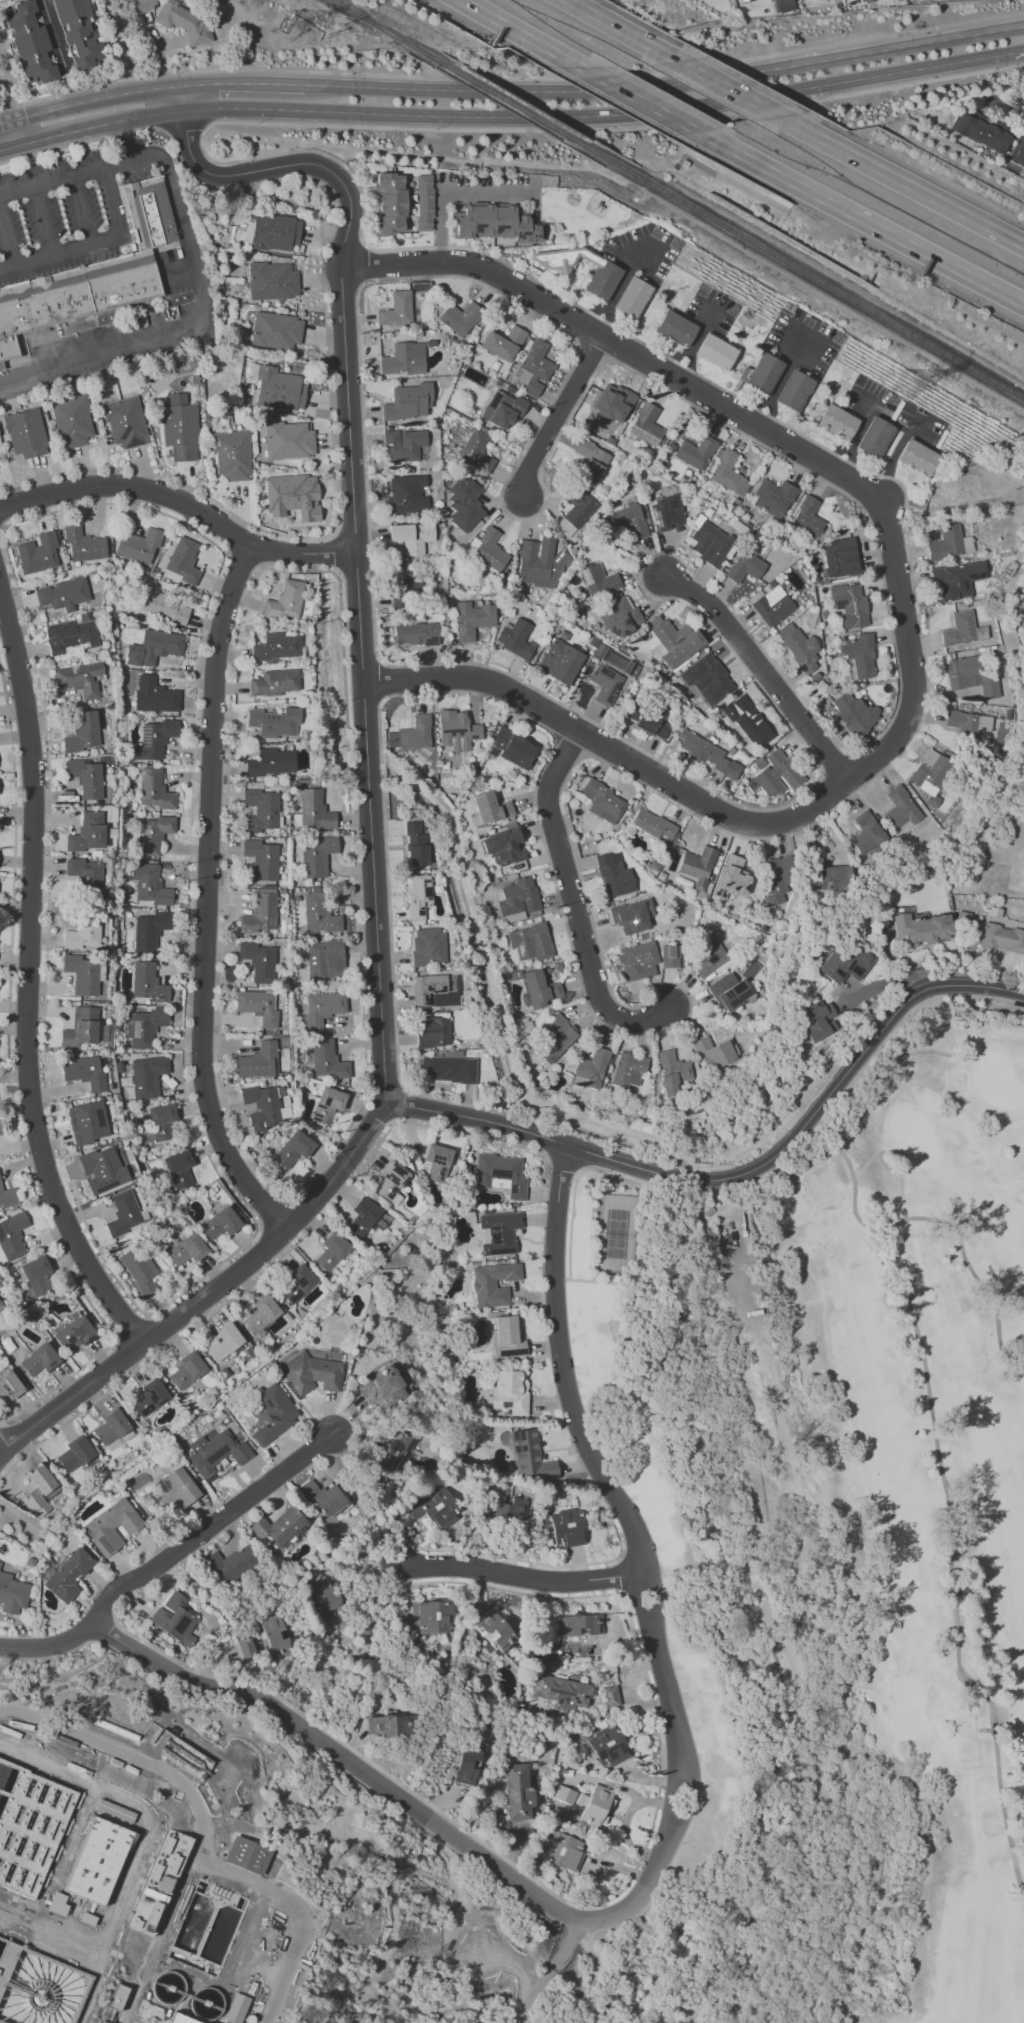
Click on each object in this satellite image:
building: (8, 0)
building: (743, 0)
building: (142, 5)
building: (783, 5)
building: (185, 22)
power tower: (280, 25)
road: (376, 28)
road: (622, 30)
building: (79, 32)
railway: (388, 33)
road: (522, 33)
building: (29, 43)
road: (906, 44)
road: (57, 53)
road: (973, 60)
road: (512, 78)
road: (858, 81)
road: (243, 85)
road: (667, 85)
road: (363, 88)
road: (729, 88)
road: (484, 91)
road: (128, 94)
road: (639, 99)
road: (9, 102)
road: (503, 103)
railway: (512, 103)
road: (270, 109)
road: (693, 109)
road: (1006, 109)
road: (58, 115)
road: (545, 118)
road: (30, 128)
road: (183, 128)
building: (981, 131)
road: (9, 134)
building: (1017, 153)
road: (591, 154)
road: (446, 159)
road: (51, 182)
road: (902, 182)
road: (447, 190)
road: (302, 203)
building: (390, 203)
building: (424, 203)
road: (82, 210)
parking lot: (59, 215)
road: (44, 220)
road: (859, 220)
building: (494, 223)
building: (275, 232)
road: (6, 239)
road: (104, 239)
road: (361, 264)
railway: (801, 270)
building: (94, 274)
building: (605, 274)
building: (272, 281)
road: (614, 290)
road: (815, 293)
building: (632, 297)
road: (196, 308)
building: (396, 309)
building: (460, 317)
road: (607, 323)
building: (675, 328)
building: (276, 331)
building: (503, 342)
road: (691, 348)
road: (592, 351)
building: (715, 351)
building: (404, 359)
building: (535, 367)
road: (690, 368)
building: (760, 373)
power tower: (900, 382)
building: (279, 389)
building: (793, 390)
building: (408, 402)
building: (612, 403)
building: (503, 408)
road: (560, 420)
building: (72, 421)
building: (836, 421)
building: (124, 422)
building: (646, 425)
road: (761, 427)
building: (180, 428)
building: (25, 433)
road: (856, 435)
building: (874, 437)
building: (289, 440)
building: (403, 445)
building: (476, 451)
building: (695, 452)
building: (232, 455)
building: (917, 457)
building: (590, 460)
building: (728, 473)
road: (172, 480)
building: (407, 494)
building: (293, 496)
building: (773, 497)
road: (181, 502)
building: (464, 503)
building: (576, 513)
building: (667, 513)
building: (807, 517)
building: (630, 520)
road: (353, 521)
road: (2, 529)
building: (412, 536)
building: (709, 543)
building: (950, 543)
building: (84, 544)
building: (140, 546)
building: (488, 549)
road: (333, 552)
building: (38, 553)
building: (840, 557)
road: (243, 559)
building: (183, 560)
building: (540, 562)
building: (744, 566)
building: (956, 579)
building: (598, 580)
building: (408, 589)
building: (63, 594)
building: (285, 600)
building: (850, 605)
building: (772, 606)
building: (162, 607)
building: (620, 617)
building: (472, 619)
building: (959, 629)
building: (415, 634)
building: (69, 636)
building: (515, 638)
building: (674, 644)
building: (277, 646)
building: (154, 647)
building: (799, 647)
road: (232, 653)
road: (766, 654)
building: (860, 655)
building: (560, 661)
road: (765, 670)
building: (970, 676)
building: (79, 678)
building: (707, 678)
road: (380, 681)
building: (274, 682)
building: (605, 684)
road: (926, 684)
building: (154, 695)
building: (854, 713)
building: (746, 719)
building: (275, 722)
building: (648, 723)
building: (968, 723)
building: (457, 730)
building: (83, 732)
building: (411, 734)
building: (154, 739)
road: (568, 747)
road: (610, 747)
building: (514, 748)
building: (708, 754)
building: (271, 762)
road: (833, 763)
building: (929, 771)
building: (776, 773)
building: (86, 777)
building: (154, 789)
building: (603, 801)
building: (491, 807)
building: (900, 808)
building: (314, 809)
building: (261, 810)
building: (655, 825)
building: (87, 832)
building: (865, 832)
building: (153, 834)
building: (415, 844)
building: (504, 844)
building: (317, 855)
building: (262, 859)
building: (697, 866)
building: (85, 874)
building: (614, 875)
building: (734, 875)
building: (834, 876)
building: (776, 877)
building: (150, 884)
building: (419, 895)
road: (206, 897)
building: (518, 899)
road: (575, 904)
building: (261, 911)
building: (319, 913)
building: (632, 916)
building: (921, 929)
building: (150, 930)
building: (82, 935)
building: (1002, 938)
building: (530, 942)
building: (428, 946)
building: (669, 956)
building: (325, 959)
building: (710, 959)
building: (638, 960)
building: (258, 961)
building: (845, 963)
building: (83, 974)
road: (29, 982)
building: (148, 982)
building: (427, 988)
building: (538, 988)
building: (729, 991)
building: (258, 1006)
building: (323, 1008)
building: (816, 1020)
building: (146, 1027)
building: (81, 1028)
building: (433, 1031)
building: (555, 1038)
building: (713, 1052)
building: (326, 1059)
building: (258, 1061)
building: (448, 1069)
building: (590, 1069)
building: (627, 1069)
building: (672, 1071)
building: (84, 1072)
building: (148, 1075)
road: (11, 1085)
building: (328, 1104)
building: (262, 1106)
road: (381, 1112)
building: (87, 1122)
building: (0, 1130)
road: (483, 1135)
building: (293, 1149)
building: (437, 1162)
road: (779, 1162)
road: (562, 1164)
building: (102, 1169)
building: (179, 1169)
road: (740, 1175)
building: (391, 1181)
building: (8, 1196)
road: (273, 1210)
building: (124, 1213)
building: (362, 1217)
building: (220, 1223)
building: (500, 1232)
park: (616, 1234)
building: (12, 1236)
building: (187, 1249)
building: (332, 1251)
building: (139, 1270)
building: (37, 1275)
road: (588, 1280)
building: (296, 1284)
building: (493, 1284)
road: (209, 1290)
road: (168, 1304)
road: (208, 1314)
building: (262, 1314)
road: (129, 1328)
building: (74, 1334)
building: (507, 1337)
building: (225, 1342)
building: (39, 1360)
building: (186, 1370)
building: (312, 1371)
building: (10, 1385)
building: (382, 1387)
building: (509, 1392)
building: (150, 1397)
building: (274, 1413)
building: (113, 1428)
building: (392, 1450)
building: (217, 1452)
road: (7, 1453)
building: (75, 1454)
building: (530, 1458)
park: (918, 1462)
building: (38, 1490)
building: (176, 1490)
building: (324, 1496)
building: (436, 1508)
building: (508, 1508)
building: (280, 1526)
building: (112, 1527)
building: (567, 1527)
road: (209, 1529)
road: (677, 1542)
building: (0, 1561)
building: (231, 1564)
road: (718, 1565)
road: (621, 1573)
road: (521, 1574)
building: (68, 1575)
building: (12, 1594)
building: (328, 1600)
building: (431, 1616)
building: (175, 1618)
building: (580, 1624)
road: (111, 1627)
building: (494, 1630)
building: (276, 1636)
park: (741, 1639)
building: (246, 1647)
building: (562, 1691)
building: (611, 1696)
building: (83, 1715)
building: (388, 1726)
building: (117, 1731)
building: (607, 1746)
building: (181, 1754)
road: (659, 1756)
building: (466, 1764)
building: (110, 1773)
building: (518, 1792)
building: (565, 1794)
road: (716, 1799)
building: (592, 1807)
road: (198, 1808)
road: (802, 1808)
road: (756, 1815)
building: (29, 1825)
road: (778, 1827)
road: (156, 1841)
building: (564, 1851)
building: (247, 1855)
building: (97, 1861)
road: (649, 1876)
building: (160, 1882)
road: (59, 1908)
road: (302, 1912)
road: (548, 1972)
road: (593, 1972)
building: (118, 1996)
building: (237, 2008)
building: (181, 2019)
building: (104, 2020)

